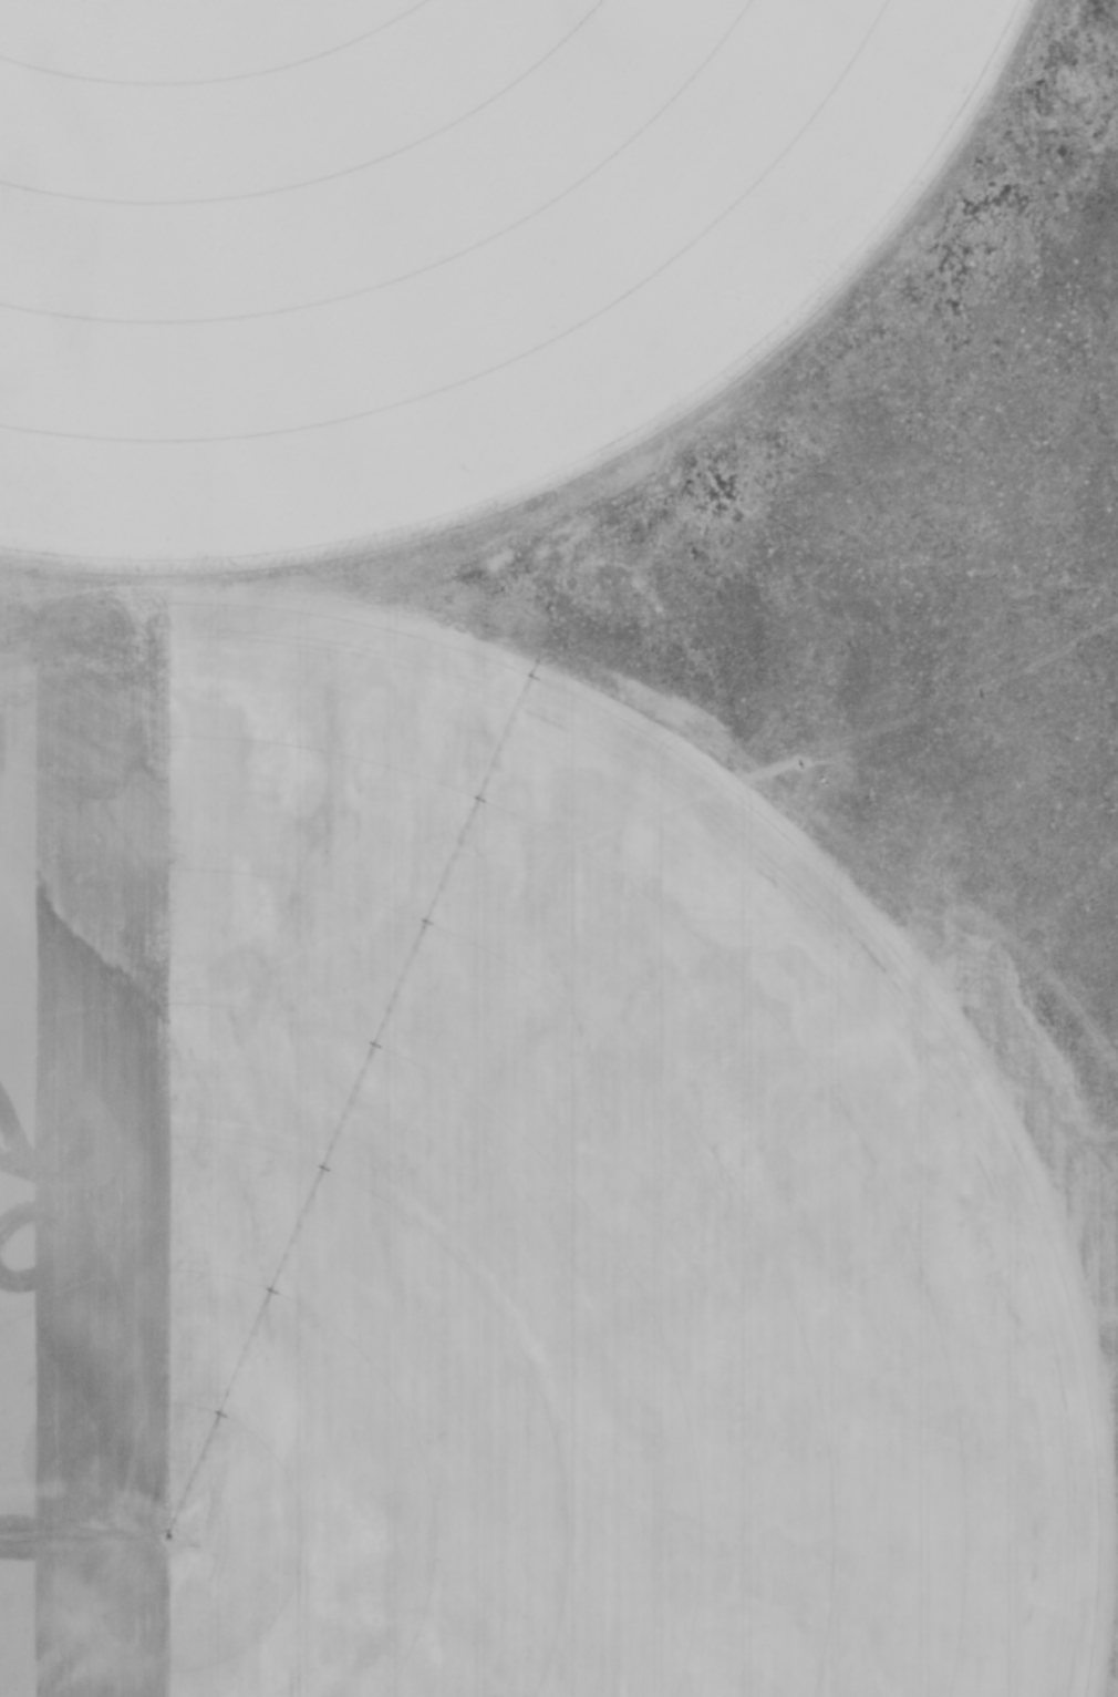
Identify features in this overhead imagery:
crop: (405, 270)
crop: (111, 1358)

